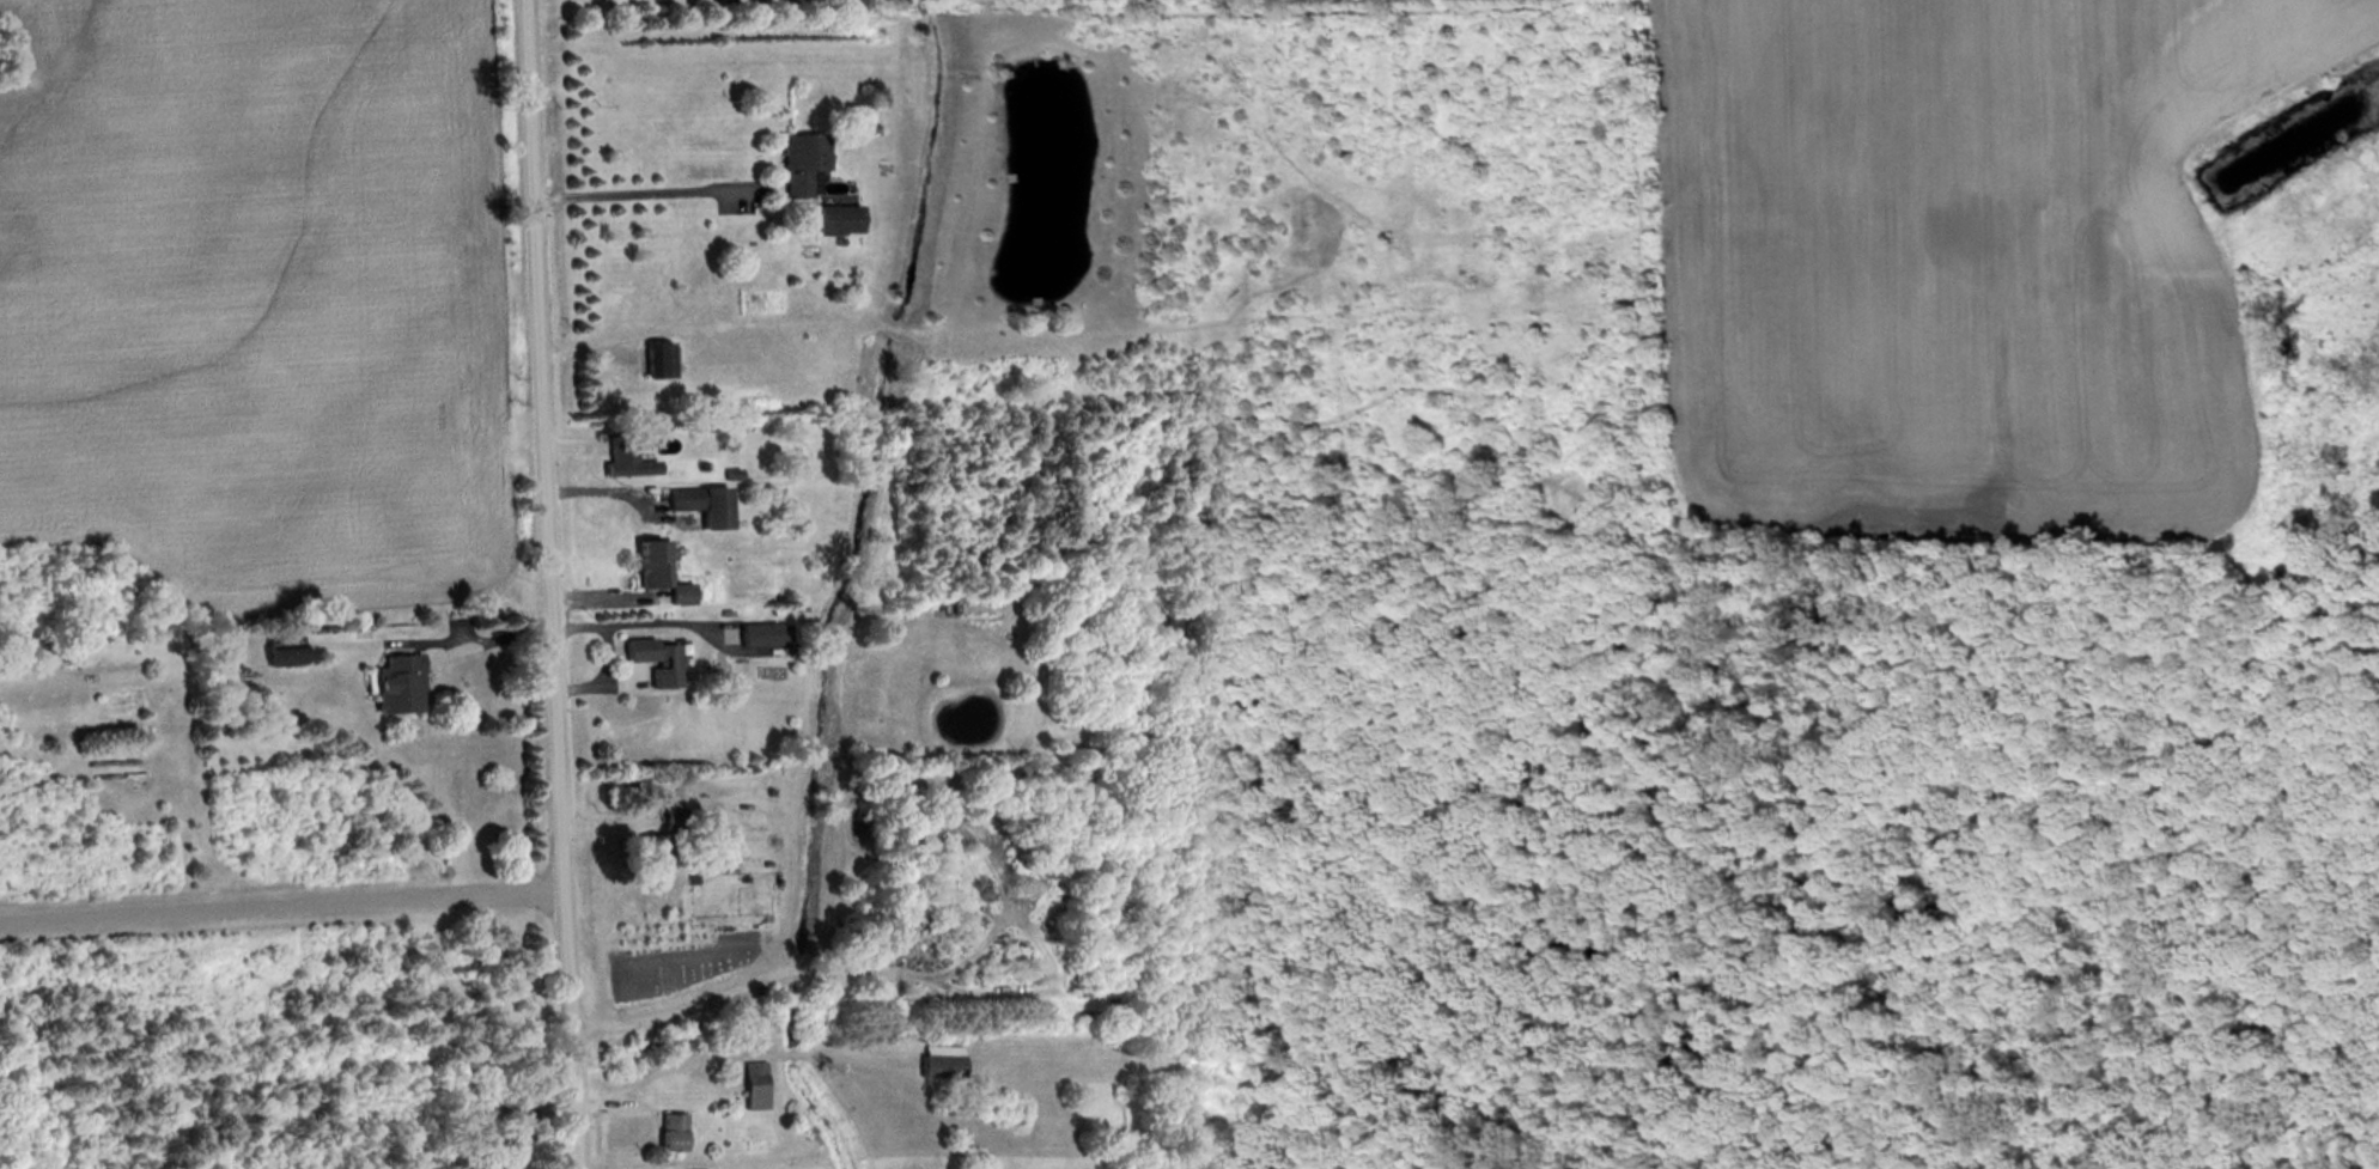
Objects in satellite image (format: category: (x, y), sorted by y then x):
building: (802, 165)
building: (838, 223)
building: (658, 364)
building: (623, 458)
building: (705, 509)
building: (651, 568)
road: (546, 584)
building: (767, 638)
building: (286, 653)
building: (656, 664)
building: (401, 689)
building: (674, 822)
building: (655, 851)
road: (278, 897)
building: (943, 1065)
building: (755, 1089)
building: (671, 1134)

